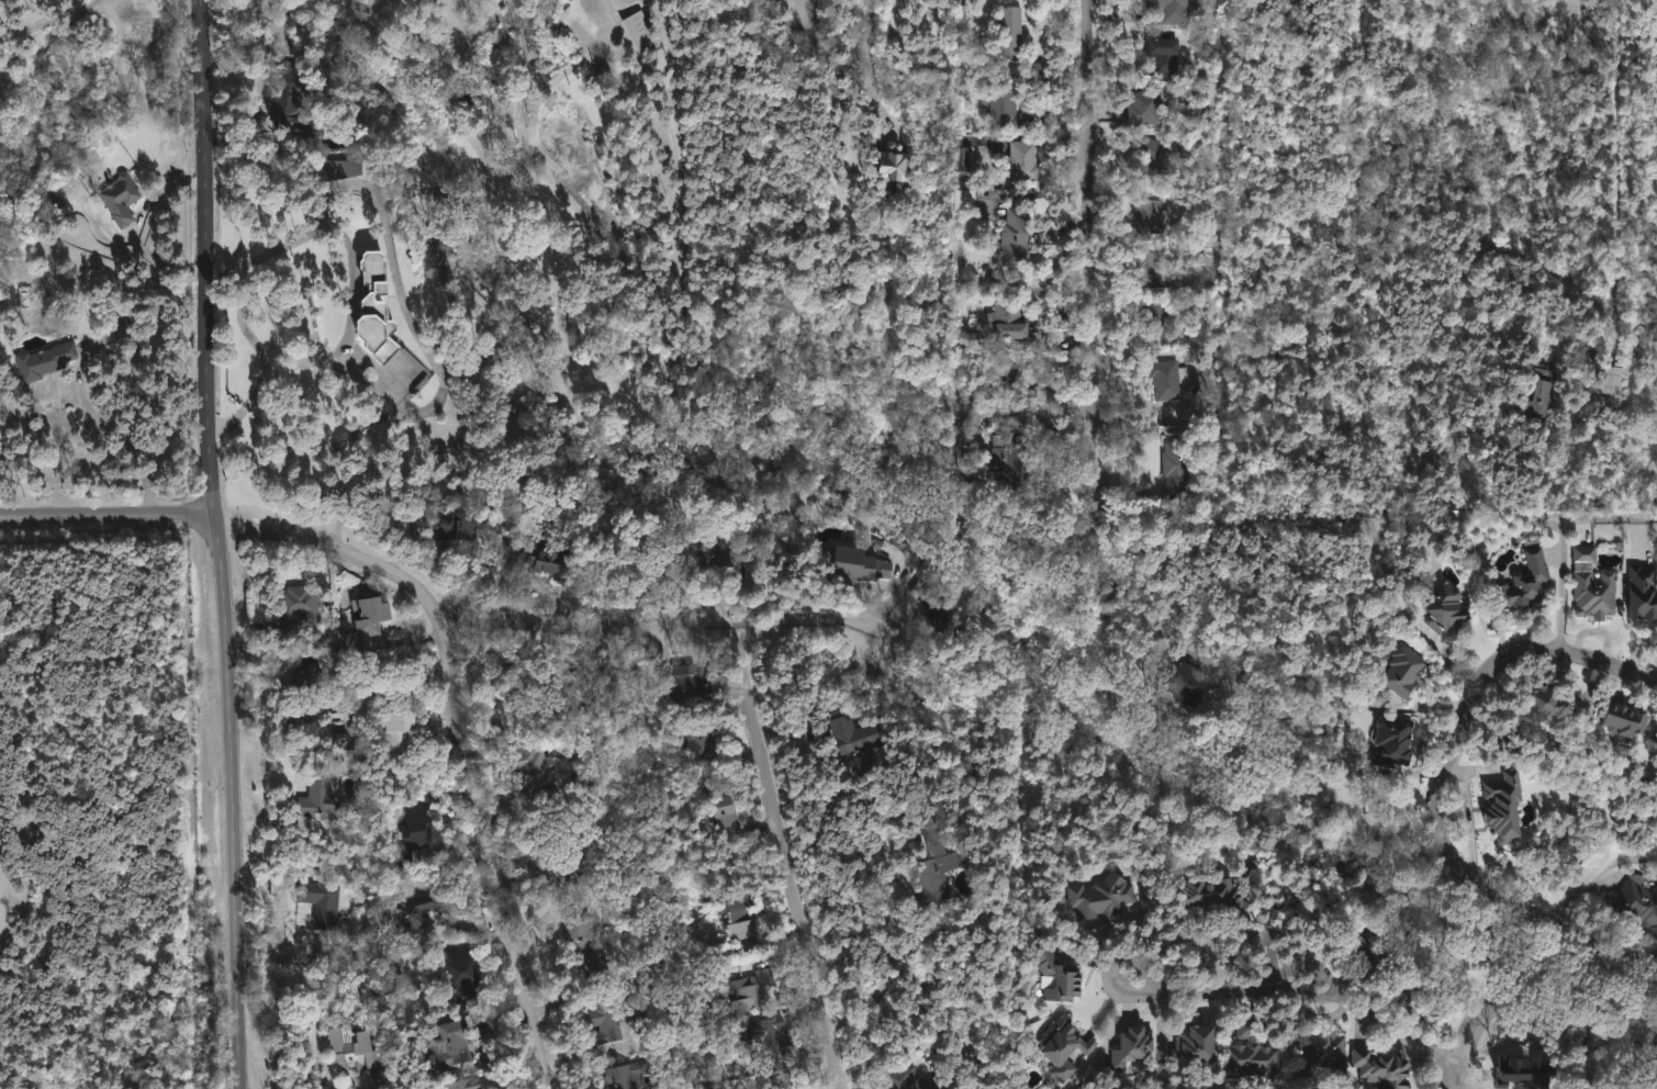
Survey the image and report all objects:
building: (1168, 12)
road: (48, 22)
building: (1011, 30)
building: (641, 32)
building: (1166, 55)
road: (871, 61)
building: (1035, 70)
road: (267, 88)
building: (292, 101)
building: (1144, 109)
building: (1008, 111)
building: (1155, 156)
building: (1026, 161)
building: (897, 165)
building: (338, 169)
building: (121, 199)
building: (964, 199)
road: (1094, 202)
building: (1153, 216)
building: (1019, 238)
road: (204, 260)
building: (1157, 269)
road: (354, 299)
building: (377, 310)
building: (1160, 319)
building: (1011, 321)
road: (138, 360)
building: (45, 361)
building: (1009, 374)
building: (1171, 379)
building: (1622, 381)
building: (1545, 395)
building: (970, 424)
road: (123, 435)
building: (1017, 461)
building: (1180, 469)
building: (486, 485)
road: (107, 517)
road: (1606, 517)
building: (460, 525)
building: (721, 552)
building: (546, 560)
building: (862, 562)
building: (1532, 581)
building: (1598, 583)
building: (1646, 587)
road: (1563, 590)
building: (299, 605)
building: (1449, 606)
building: (937, 613)
building: (370, 615)
road: (658, 630)
road: (1598, 659)
building: (1407, 670)
building: (304, 682)
building: (1195, 682)
building: (688, 685)
building: (1555, 701)
building: (1633, 720)
building: (398, 729)
road: (464, 731)
building: (855, 736)
building: (701, 740)
building: (1396, 740)
building: (536, 768)
road: (1444, 777)
building: (316, 795)
road: (232, 805)
building: (720, 805)
building: (1507, 805)
building: (413, 830)
road: (787, 858)
building: (939, 865)
building: (556, 872)
road: (1593, 872)
building: (1108, 892)
road: (5, 896)
building: (1221, 898)
building: (1638, 900)
building: (321, 901)
building: (734, 916)
road: (886, 931)
building: (1477, 935)
building: (584, 942)
road: (1596, 947)
building: (1375, 965)
road: (1119, 975)
building: (464, 977)
building: (1063, 978)
road: (1500, 990)
building: (754, 992)
road: (1323, 992)
building: (645, 1002)
building: (612, 1022)
building: (769, 1041)
building: (1198, 1044)
building: (451, 1046)
building: (1137, 1047)
building: (1321, 1047)
building: (1068, 1048)
building: (351, 1051)
building: (1254, 1051)
building: (1385, 1069)
road: (1455, 1074)
road: (1459, 1074)
building: (629, 1076)
building: (911, 1079)
building: (787, 1081)
building: (464, 1084)
road: (357, 1088)

